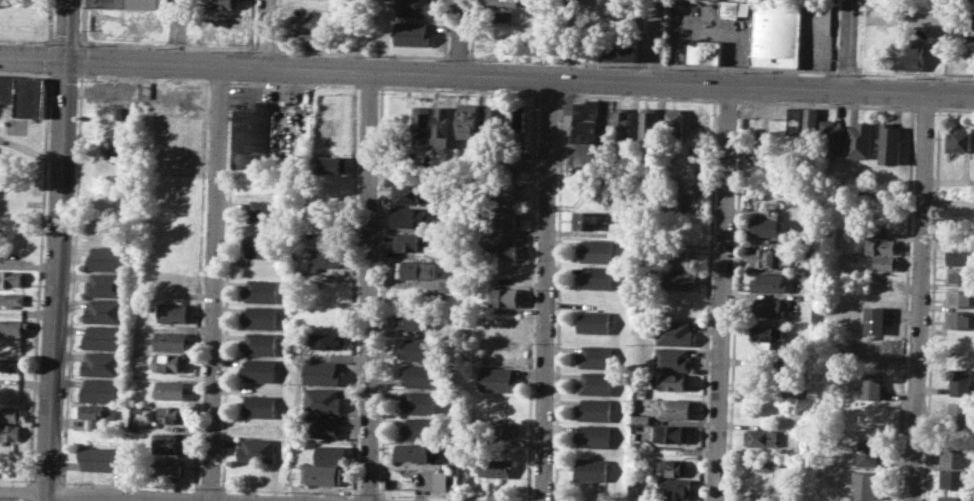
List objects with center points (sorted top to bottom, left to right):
building: (128, 3)
building: (221, 3)
building: (504, 3)
road: (862, 3)
building: (414, 8)
building: (733, 8)
building: (505, 16)
building: (310, 22)
building: (973, 24)
road: (66, 29)
road: (266, 33)
building: (412, 34)
building: (776, 34)
road: (459, 36)
building: (309, 37)
road: (26, 40)
road: (652, 40)
road: (65, 41)
road: (848, 44)
road: (166, 45)
road: (263, 49)
building: (704, 51)
building: (622, 52)
road: (361, 53)
building: (916, 54)
road: (458, 57)
road: (555, 60)
road: (652, 64)
road: (782, 68)
road: (835, 71)
road: (846, 71)
road: (915, 74)
road: (487, 75)
building: (8, 88)
building: (30, 96)
building: (496, 118)
building: (468, 120)
building: (586, 120)
building: (517, 122)
building: (673, 122)
building: (794, 122)
building: (811, 122)
building: (622, 123)
building: (648, 124)
building: (442, 126)
building: (423, 127)
building: (255, 136)
building: (831, 138)
building: (861, 140)
building: (959, 141)
building: (890, 143)
building: (516, 160)
building: (332, 163)
building: (504, 192)
building: (410, 193)
building: (669, 199)
building: (262, 211)
building: (410, 216)
building: (507, 218)
building: (585, 219)
building: (765, 226)
building: (415, 241)
building: (262, 246)
building: (881, 246)
building: (597, 250)
building: (506, 251)
building: (684, 254)
building: (961, 255)
building: (765, 257)
building: (106, 258)
building: (327, 258)
building: (881, 262)
building: (418, 269)
building: (960, 276)
building: (597, 277)
building: (679, 277)
building: (11, 278)
road: (57, 279)
building: (448, 280)
road: (216, 282)
building: (768, 282)
building: (105, 285)
road: (371, 285)
road: (547, 289)
building: (263, 290)
road: (724, 293)
building: (507, 296)
road: (919, 297)
building: (12, 298)
building: (960, 298)
building: (769, 308)
building: (105, 311)
building: (175, 312)
building: (262, 316)
building: (873, 319)
building: (415, 320)
building: (959, 320)
building: (594, 321)
building: (14, 327)
building: (765, 332)
building: (675, 333)
building: (103, 337)
building: (330, 341)
building: (174, 342)
building: (261, 343)
building: (420, 348)
building: (876, 349)
building: (596, 356)
building: (674, 359)
building: (173, 362)
building: (102, 364)
building: (12, 365)
building: (261, 370)
building: (323, 372)
building: (421, 375)
building: (498, 380)
building: (961, 381)
building: (677, 382)
building: (596, 383)
building: (871, 386)
building: (172, 389)
building: (101, 390)
building: (323, 400)
building: (422, 403)
building: (261, 405)
building: (674, 409)
building: (595, 410)
building: (99, 411)
building: (12, 414)
building: (174, 414)
building: (960, 416)
building: (323, 426)
building: (421, 428)
building: (498, 430)
building: (10, 433)
building: (674, 434)
building: (594, 435)
building: (762, 437)
building: (172, 444)
building: (258, 450)
building: (415, 452)
building: (868, 452)
building: (331, 454)
building: (99, 458)
building: (957, 458)
building: (170, 467)
building: (494, 467)
building: (672, 467)
building: (593, 469)
building: (325, 475)
building: (954, 479)
building: (441, 480)
building: (461, 481)
building: (865, 486)
building: (676, 488)
building: (634, 489)
road: (140, 495)
building: (952, 498)

